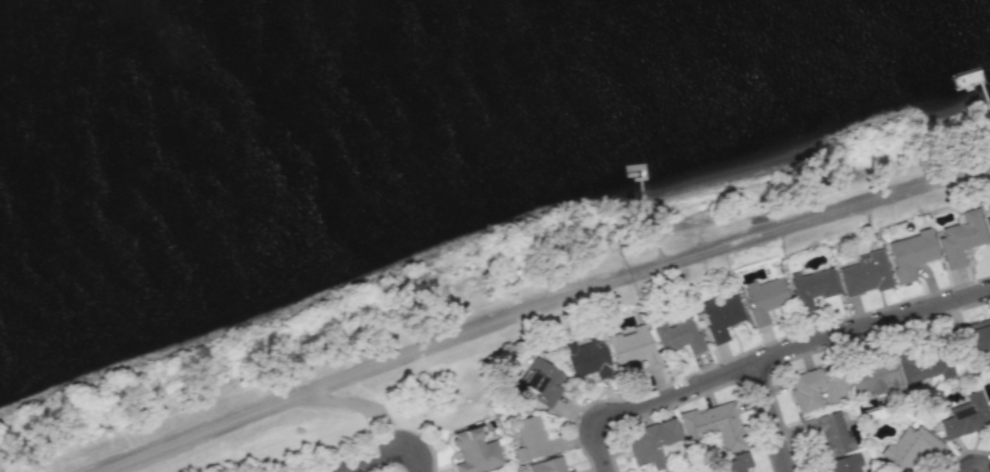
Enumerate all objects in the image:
river: (279, 79)
building: (987, 223)
building: (961, 238)
building: (911, 254)
building: (865, 274)
building: (812, 286)
building: (764, 299)
road: (540, 303)
building: (721, 316)
building: (677, 334)
building: (976, 338)
building: (633, 346)
building: (587, 357)
road: (764, 358)
building: (926, 367)
building: (511, 375)
building: (873, 376)
building: (542, 382)
building: (817, 387)
building: (965, 416)
road: (769, 417)
building: (715, 425)
building: (832, 435)
building: (533, 439)
building: (651, 443)
building: (911, 447)
building: (474, 452)
road: (390, 454)
building: (735, 463)
building: (846, 463)
building: (548, 465)
road: (987, 470)

